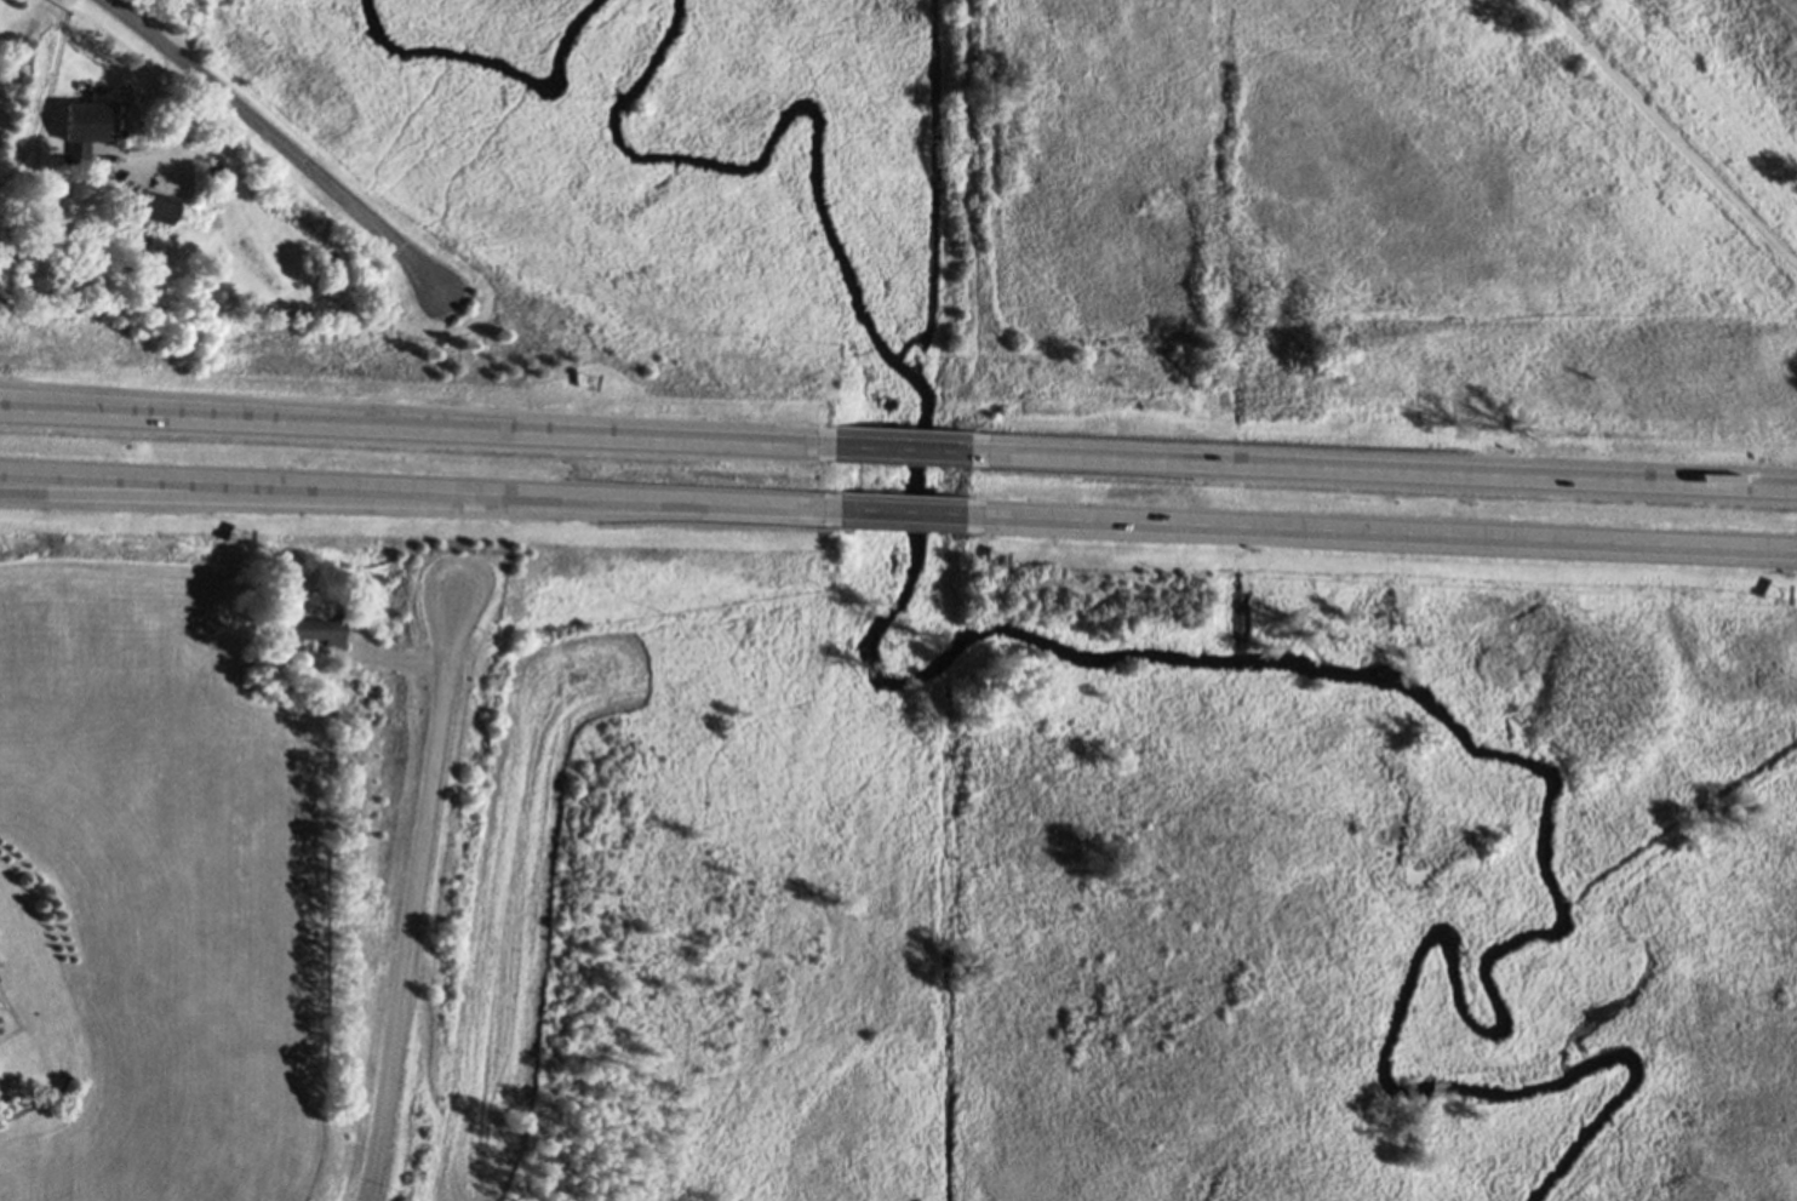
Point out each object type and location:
park: (1733, 64)
road: (967, 99)
building: (81, 128)
road: (1665, 135)
building: (120, 142)
road: (281, 144)
road: (166, 149)
building: (154, 205)
road: (160, 407)
road: (412, 429)
road: (914, 447)
road: (1398, 469)
building: (125, 486)
road: (1156, 491)
road: (417, 492)
road: (263, 497)
road: (912, 514)
road: (1393, 533)
building: (311, 627)
road: (414, 896)

